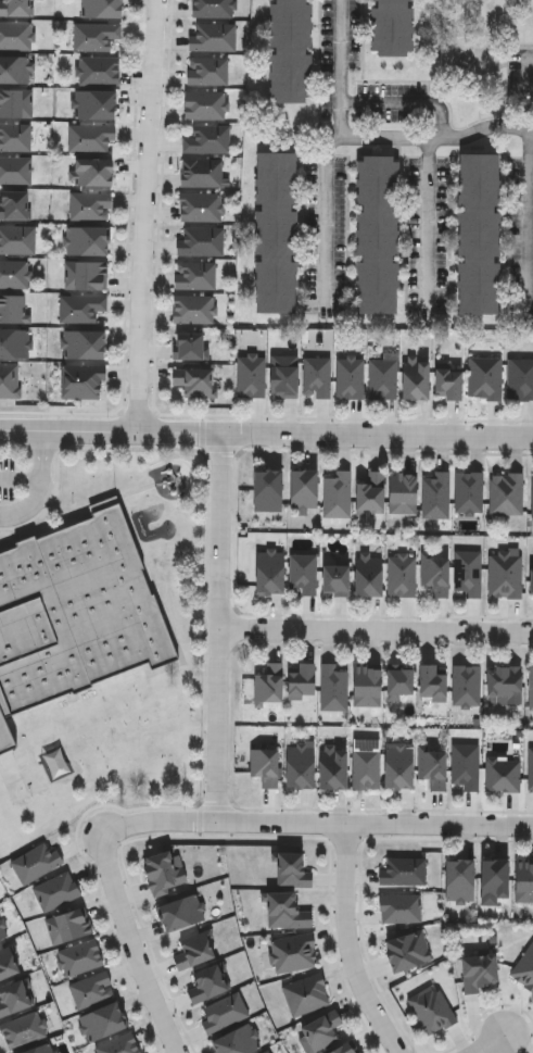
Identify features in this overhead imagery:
building: (15, 8)
building: (214, 8)
building: (102, 9)
building: (393, 27)
building: (16, 35)
building: (96, 36)
building: (214, 36)
building: (290, 51)
building: (14, 70)
building: (208, 70)
building: (99, 71)
road: (342, 73)
road: (523, 73)
building: (15, 102)
road: (408, 103)
building: (94, 104)
building: (206, 104)
road: (532, 134)
building: (14, 136)
building: (90, 137)
building: (207, 139)
road: (429, 139)
building: (15, 170)
building: (92, 172)
building: (204, 175)
building: (14, 204)
building: (89, 205)
building: (201, 206)
road: (323, 209)
road: (427, 215)
road: (148, 216)
road: (531, 217)
building: (276, 233)
building: (478, 234)
building: (378, 235)
building: (17, 239)
building: (87, 240)
building: (200, 240)
building: (14, 274)
building: (85, 275)
building: (194, 275)
building: (79, 308)
building: (13, 309)
building: (193, 309)
building: (14, 343)
building: (84, 344)
building: (190, 347)
building: (252, 376)
building: (284, 376)
building: (317, 377)
building: (351, 378)
building: (485, 378)
building: (520, 379)
building: (10, 380)
building: (383, 380)
building: (84, 381)
building: (194, 383)
building: (417, 383)
building: (447, 384)
road: (266, 435)
road: (23, 476)
road: (42, 488)
building: (304, 489)
building: (267, 491)
building: (469, 492)
building: (370, 493)
building: (403, 493)
building: (338, 494)
building: (507, 494)
building: (532, 496)
building: (437, 497)
building: (269, 573)
building: (469, 573)
building: (303, 575)
building: (435, 575)
building: (506, 575)
building: (402, 576)
building: (368, 577)
building: (335, 580)
building: (531, 580)
building: (75, 613)
road: (220, 629)
road: (377, 631)
building: (399, 680)
building: (301, 681)
building: (431, 682)
building: (268, 685)
building: (367, 685)
building: (505, 685)
building: (467, 686)
building: (333, 688)
building: (531, 688)
building: (264, 766)
building: (466, 766)
building: (299, 767)
building: (397, 767)
building: (432, 768)
building: (331, 769)
building: (366, 769)
building: (531, 770)
building: (504, 775)
road: (319, 826)
building: (36, 864)
building: (293, 872)
building: (403, 872)
building: (162, 873)
building: (494, 878)
building: (459, 880)
building: (523, 881)
building: (56, 891)
building: (401, 908)
building: (287, 912)
building: (181, 913)
building: (66, 926)
building: (3, 932)
road: (351, 944)
road: (136, 945)
building: (194, 952)
building: (408, 952)
building: (295, 953)
building: (78, 958)
building: (9, 962)
building: (525, 969)
building: (479, 971)
building: (207, 985)
building: (90, 990)
building: (307, 994)
building: (13, 999)
building: (433, 1010)
building: (225, 1013)
building: (103, 1023)
building: (22, 1030)
building: (322, 1030)
building: (238, 1041)
road: (493, 1042)
building: (119, 1045)
building: (345, 1049)
building: (45, 1050)
building: (268, 1052)

